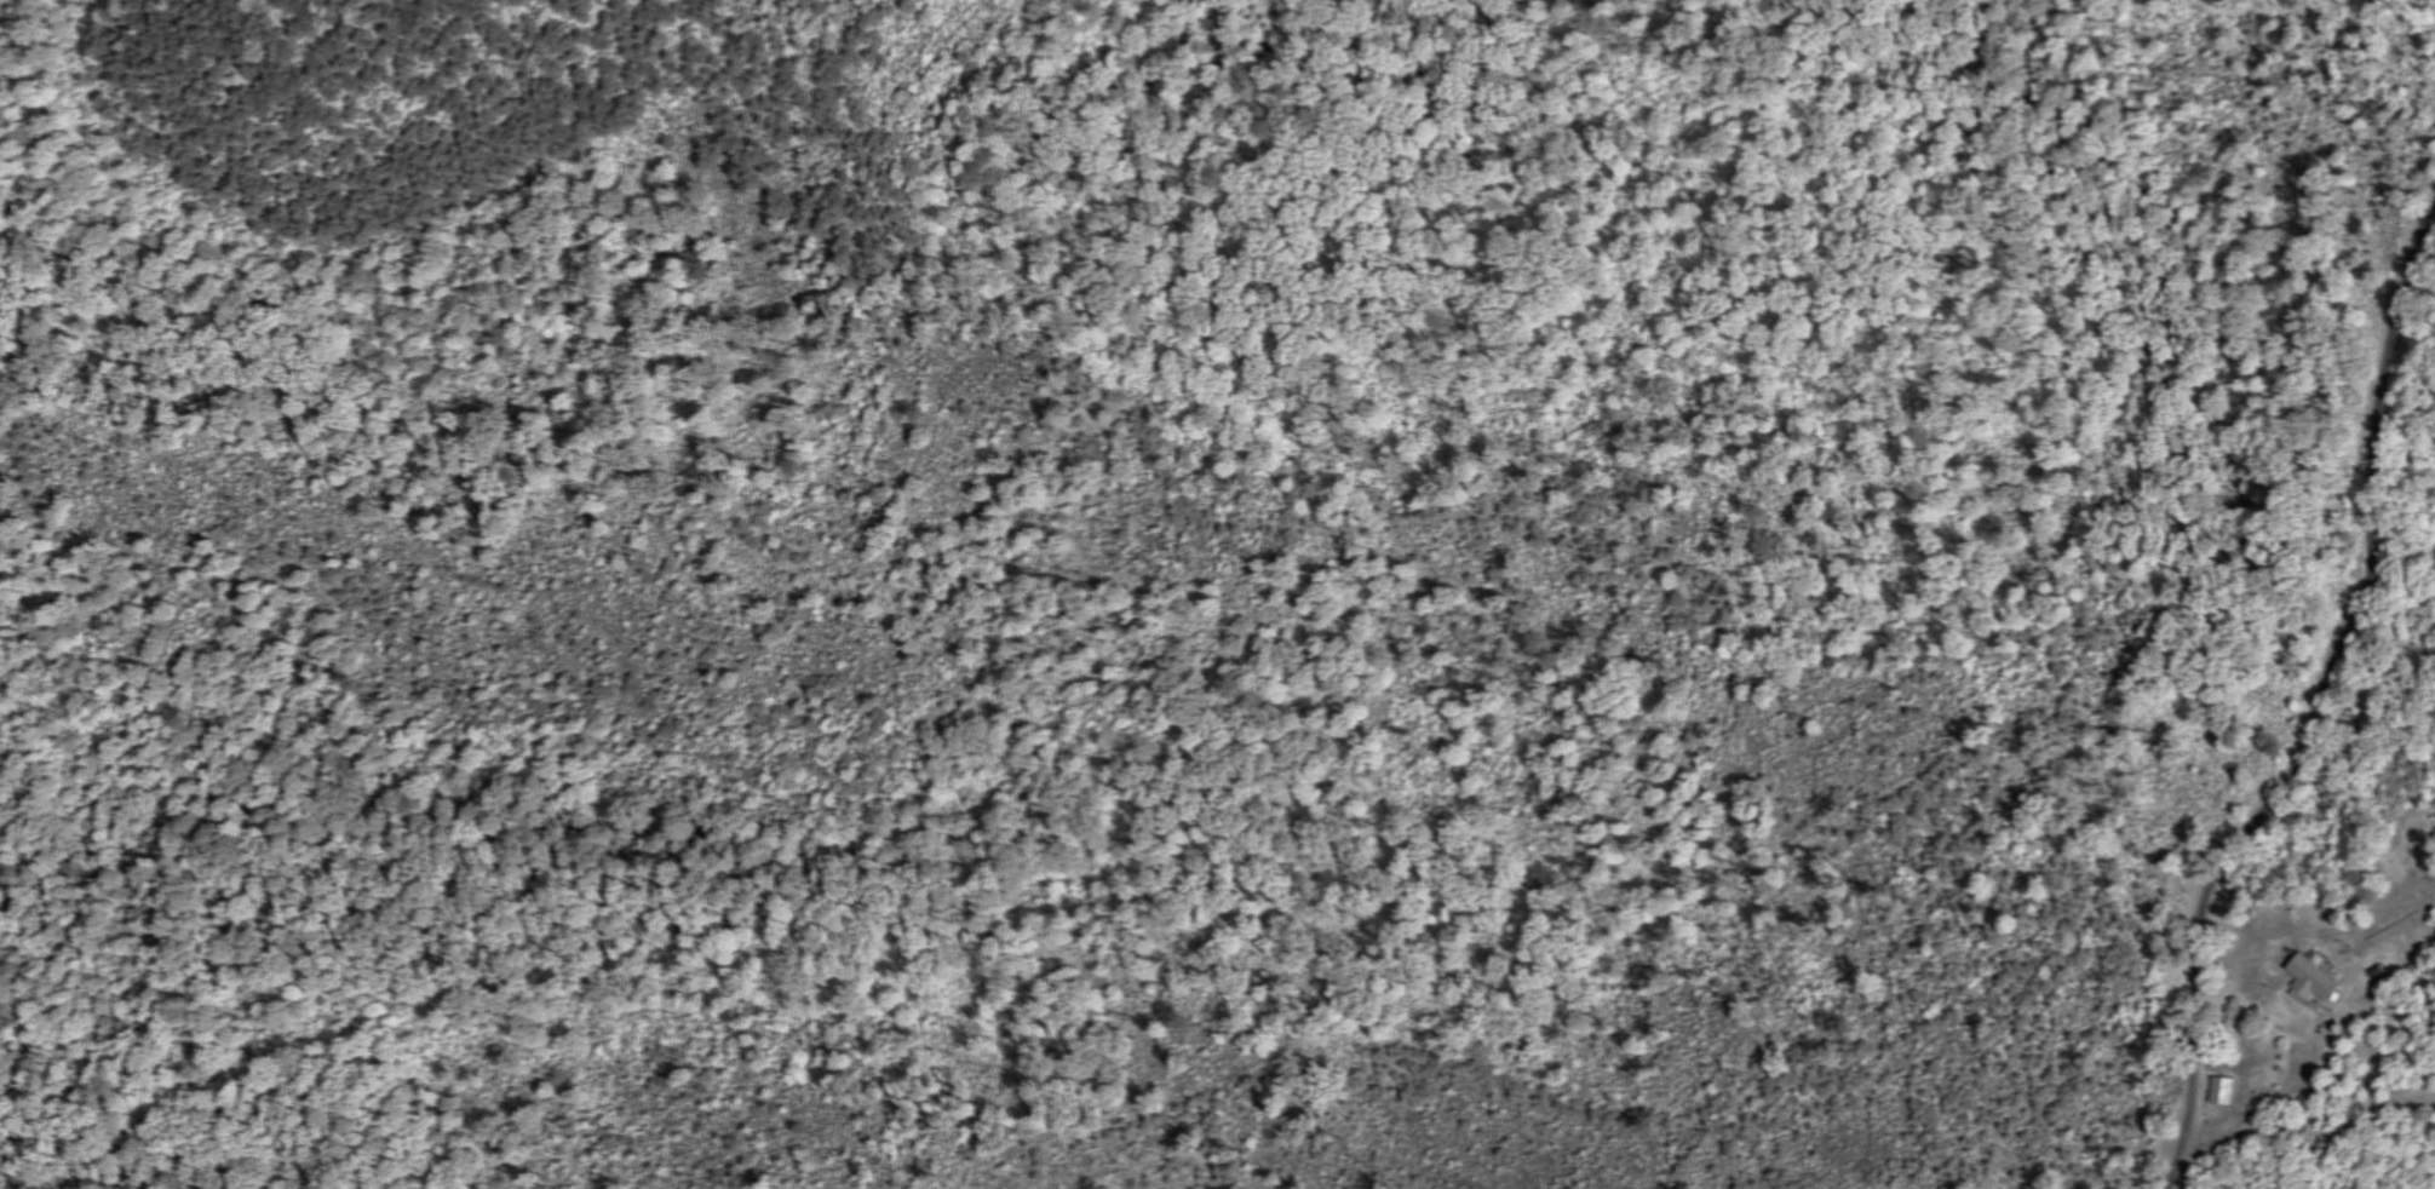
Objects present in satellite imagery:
road: (2318, 711)
road: (2310, 1137)

